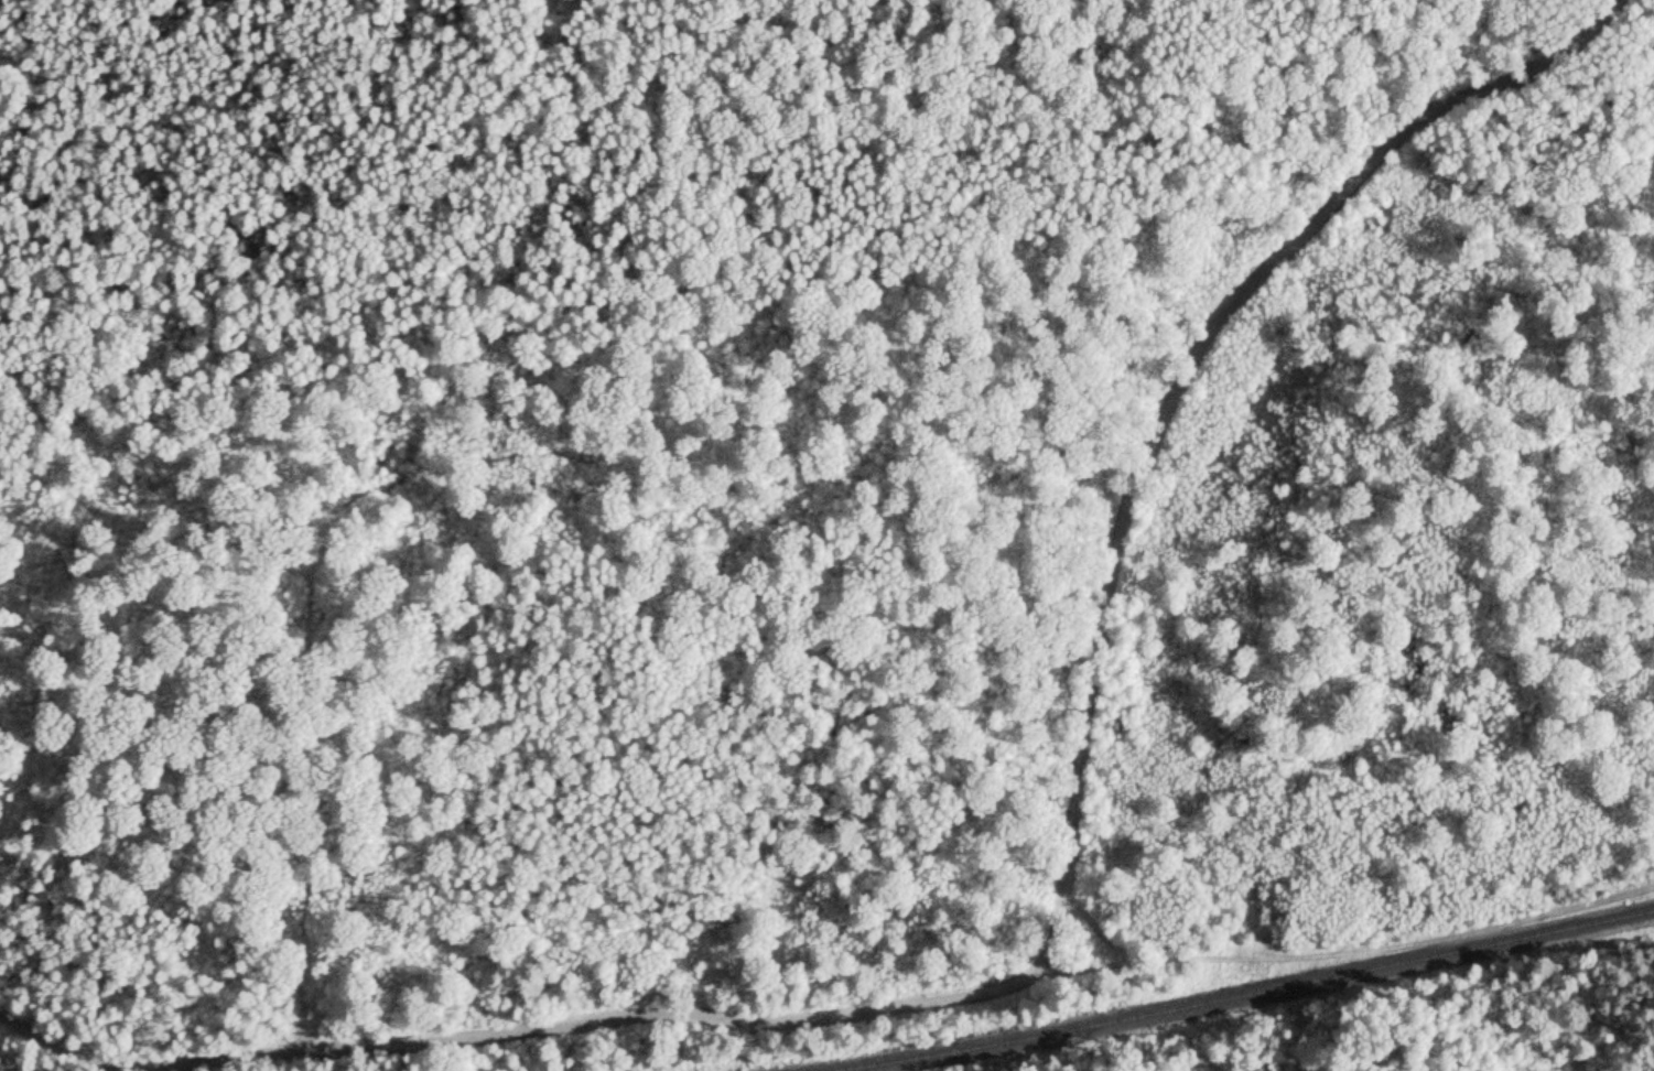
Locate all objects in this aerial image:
park: (826, 535)
road: (1062, 907)
road: (1095, 927)
road: (1350, 952)
railway: (1245, 996)

